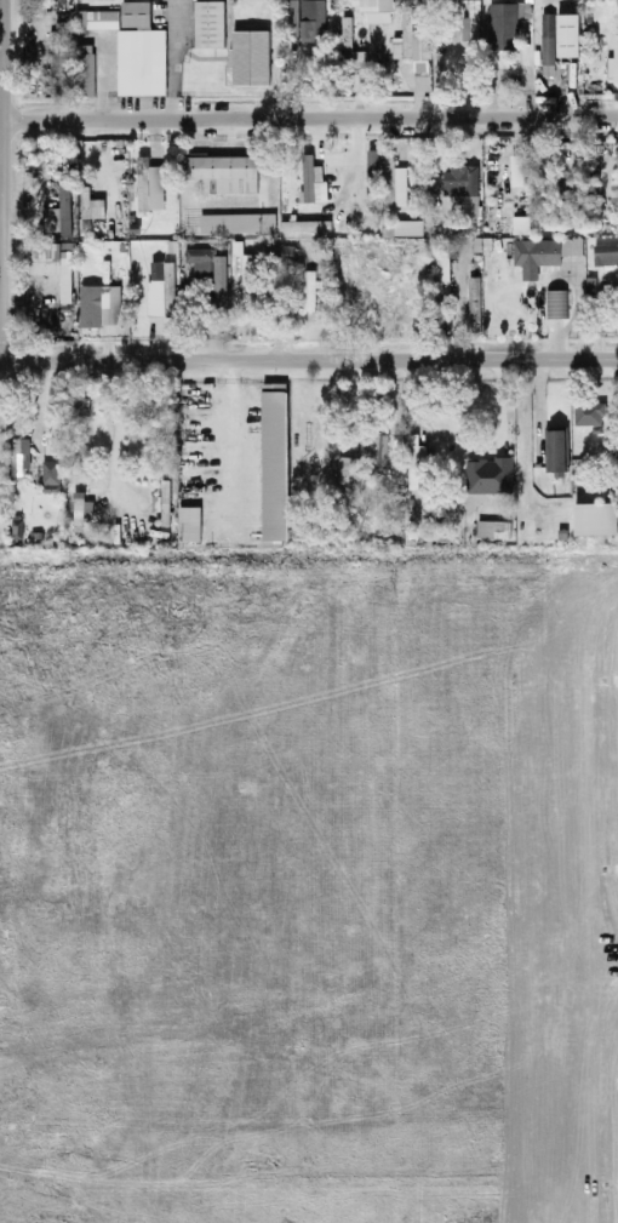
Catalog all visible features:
building: (376, 11)
building: (290, 12)
building: (102, 21)
building: (468, 21)
building: (311, 22)
building: (208, 25)
building: (504, 25)
building: (345, 33)
building: (566, 36)
building: (547, 46)
building: (411, 48)
building: (138, 53)
road: (172, 59)
building: (248, 59)
building: (359, 61)
building: (612, 63)
building: (70, 72)
road: (310, 119)
building: (371, 165)
building: (517, 172)
building: (223, 175)
road: (4, 181)
building: (459, 182)
building: (394, 183)
building: (311, 184)
building: (148, 187)
building: (613, 193)
building: (90, 206)
building: (57, 215)
building: (236, 224)
building: (520, 227)
building: (303, 228)
building: (277, 252)
building: (544, 252)
building: (605, 255)
building: (51, 265)
building: (207, 272)
building: (246, 282)
building: (160, 290)
building: (308, 292)
building: (555, 305)
building: (98, 307)
road: (308, 360)
building: (588, 415)
road: (120, 435)
building: (555, 452)
building: (274, 465)
building: (348, 467)
building: (48, 478)
building: (488, 478)
building: (164, 504)
building: (80, 509)
building: (594, 520)
building: (188, 525)
building: (492, 531)
road: (321, 568)
road: (600, 759)
road: (303, 978)
road: (325, 1075)
road: (18, 1080)
road: (606, 1092)
road: (21, 1171)
building: (359, 1185)
road: (543, 1185)

